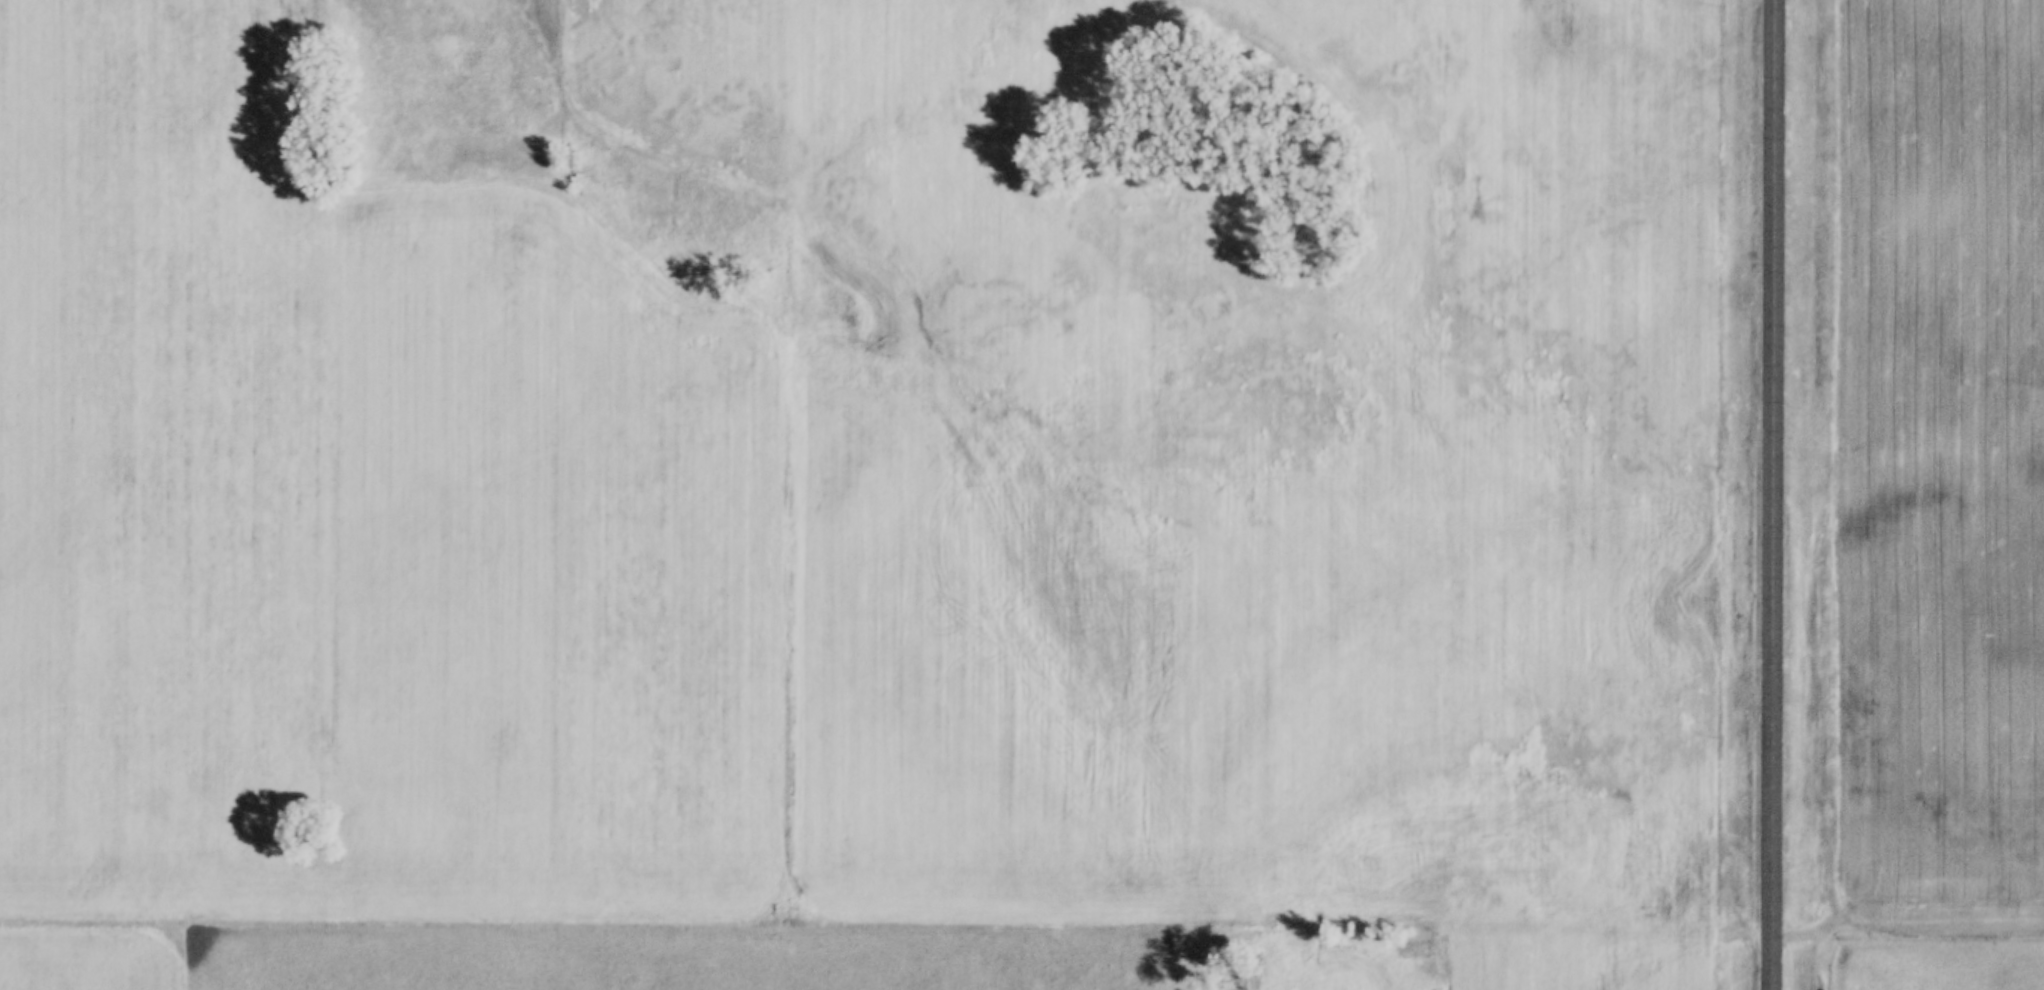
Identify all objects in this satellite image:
road: (1770, 494)

